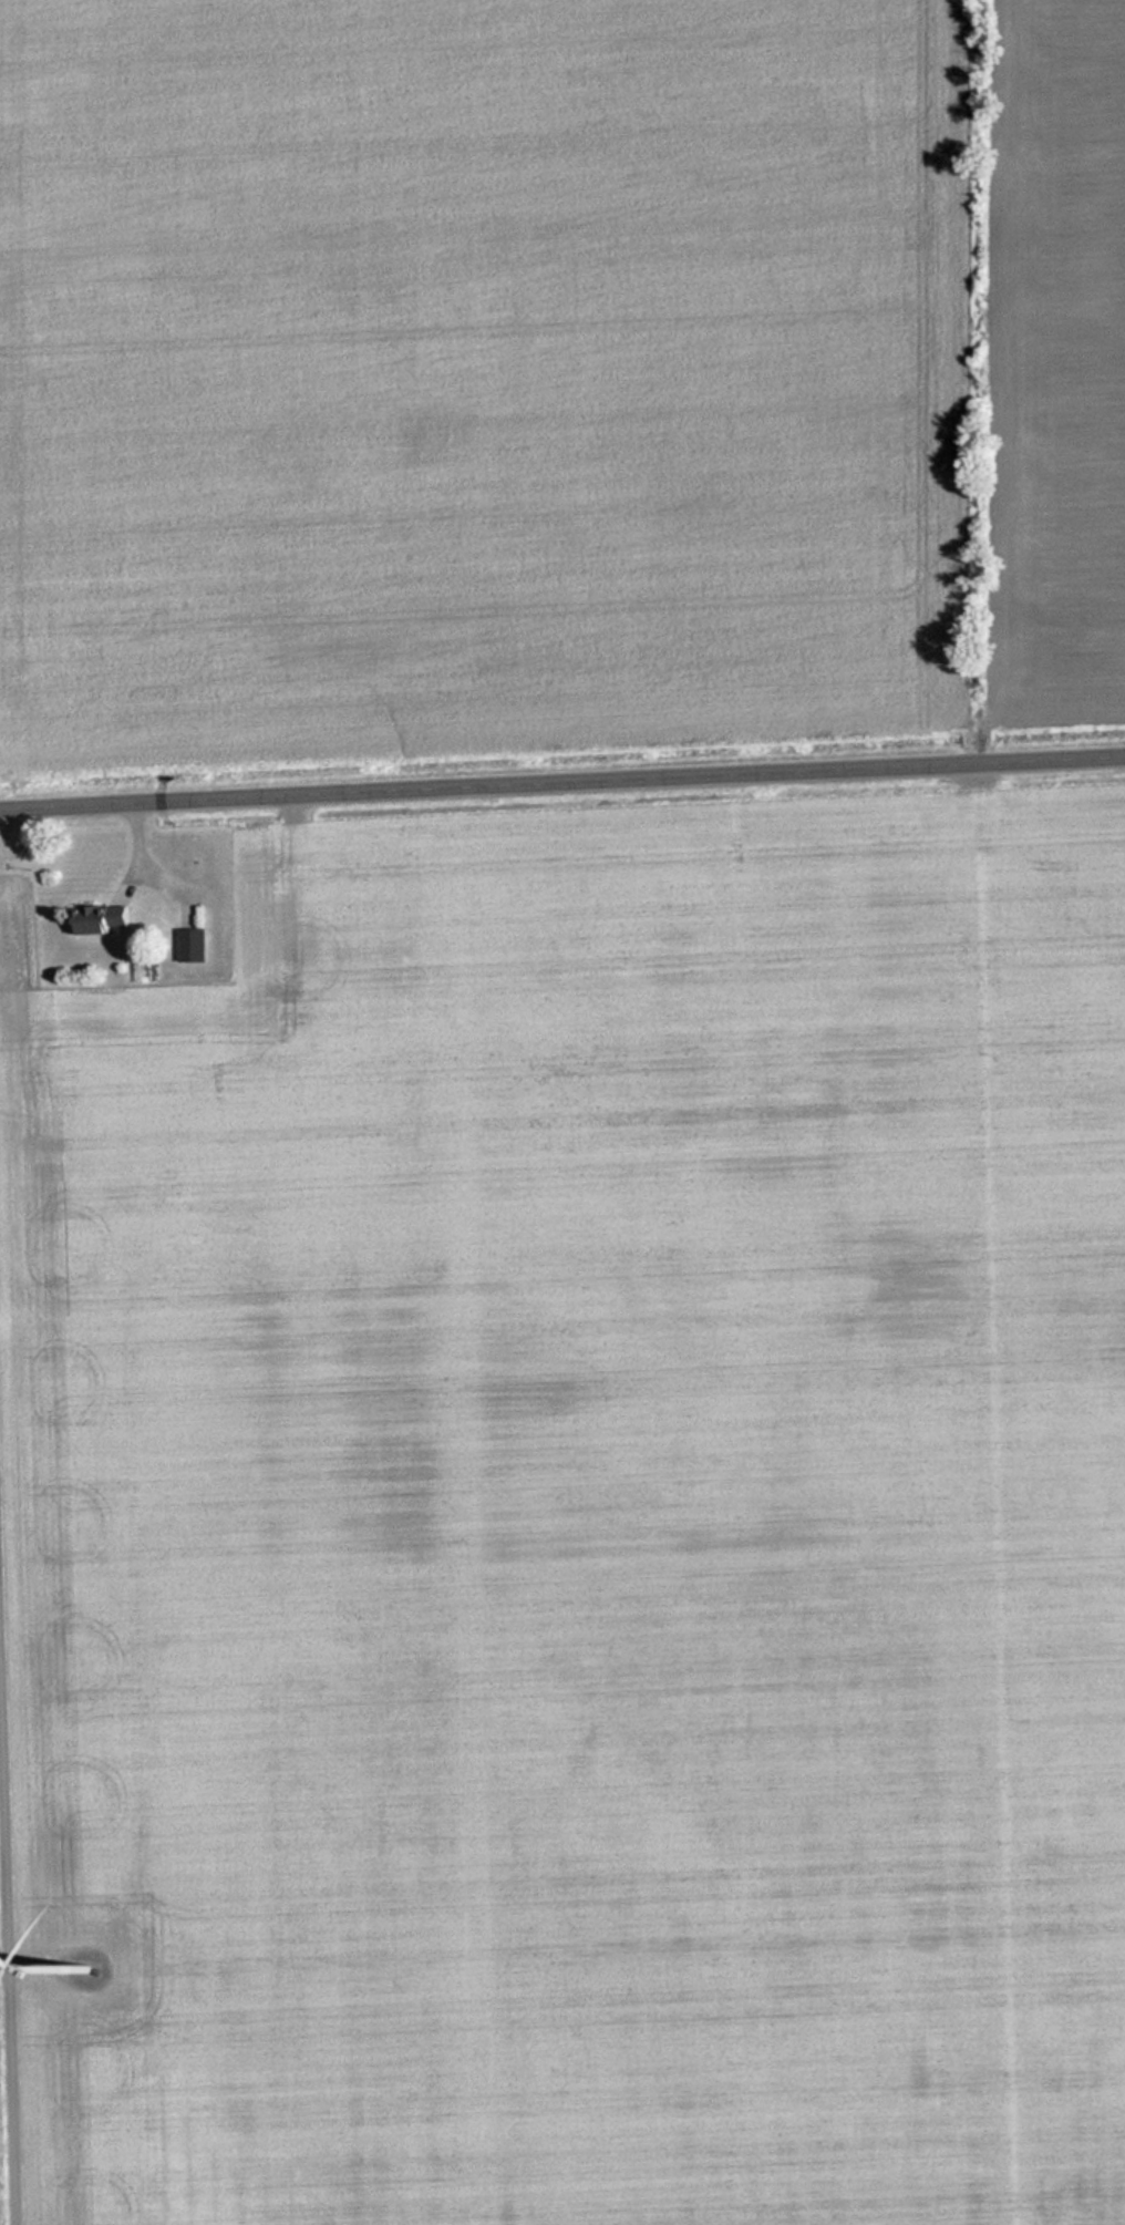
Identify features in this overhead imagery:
road: (562, 781)
building: (107, 921)
building: (196, 946)
road: (10, 1918)
wind turbine: (83, 1972)

